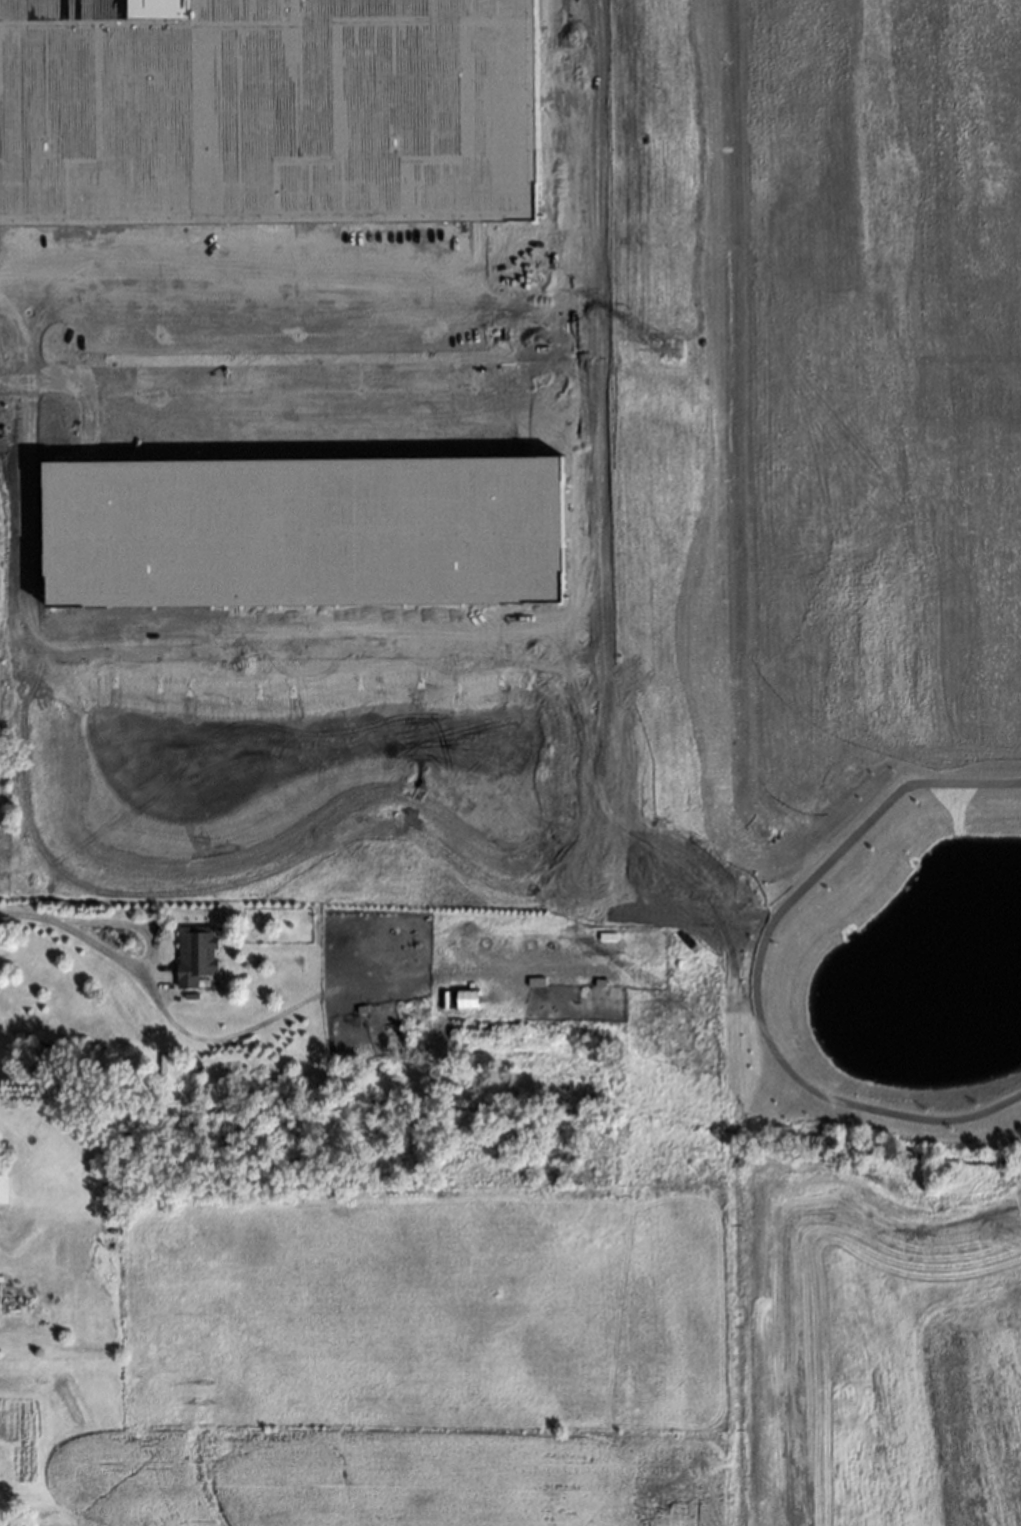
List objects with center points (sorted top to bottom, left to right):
power tower: (672, 351)
crop: (363, 449)
building: (1, 735)
road: (78, 936)
building: (194, 952)
building: (532, 976)
building: (595, 983)
building: (467, 992)
power tower: (680, 997)
building: (360, 1005)
building: (225, 1064)
building: (4, 1191)

